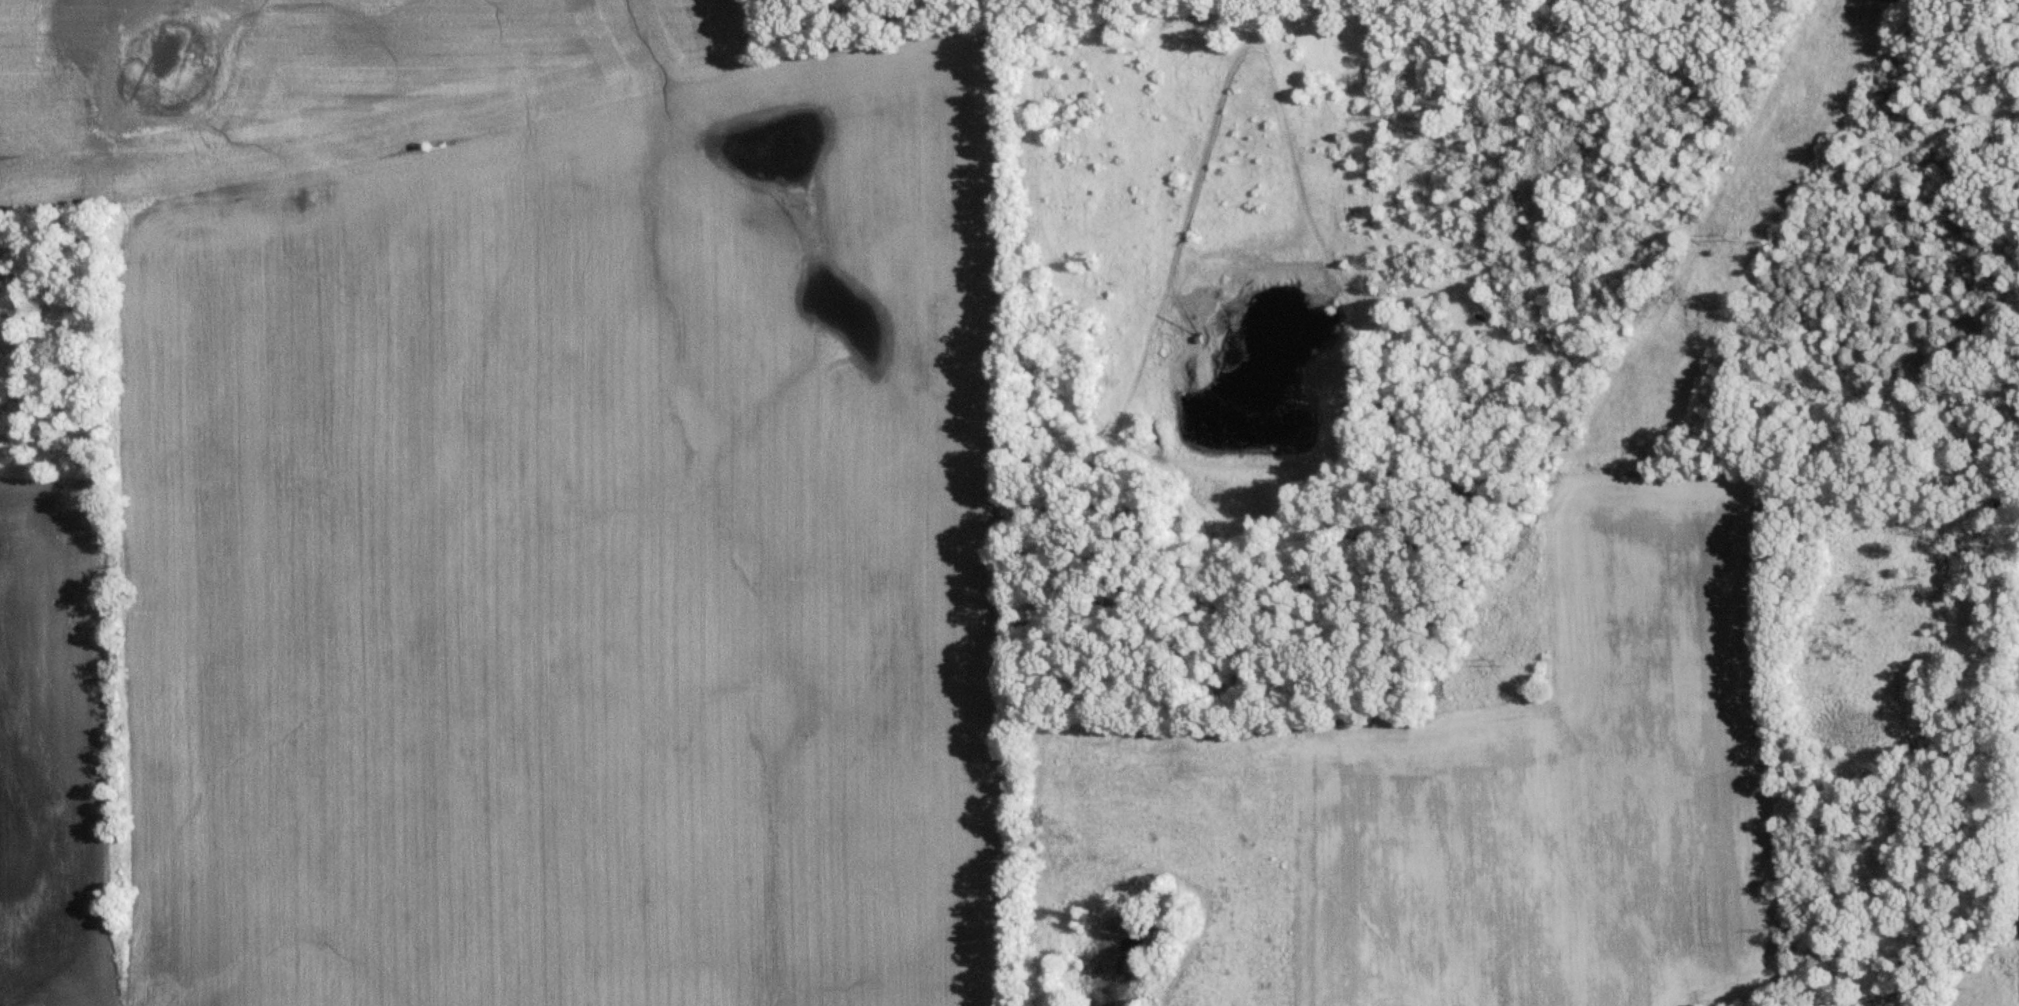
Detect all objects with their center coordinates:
power tower: (1730, 231)
power tower: (1502, 660)

